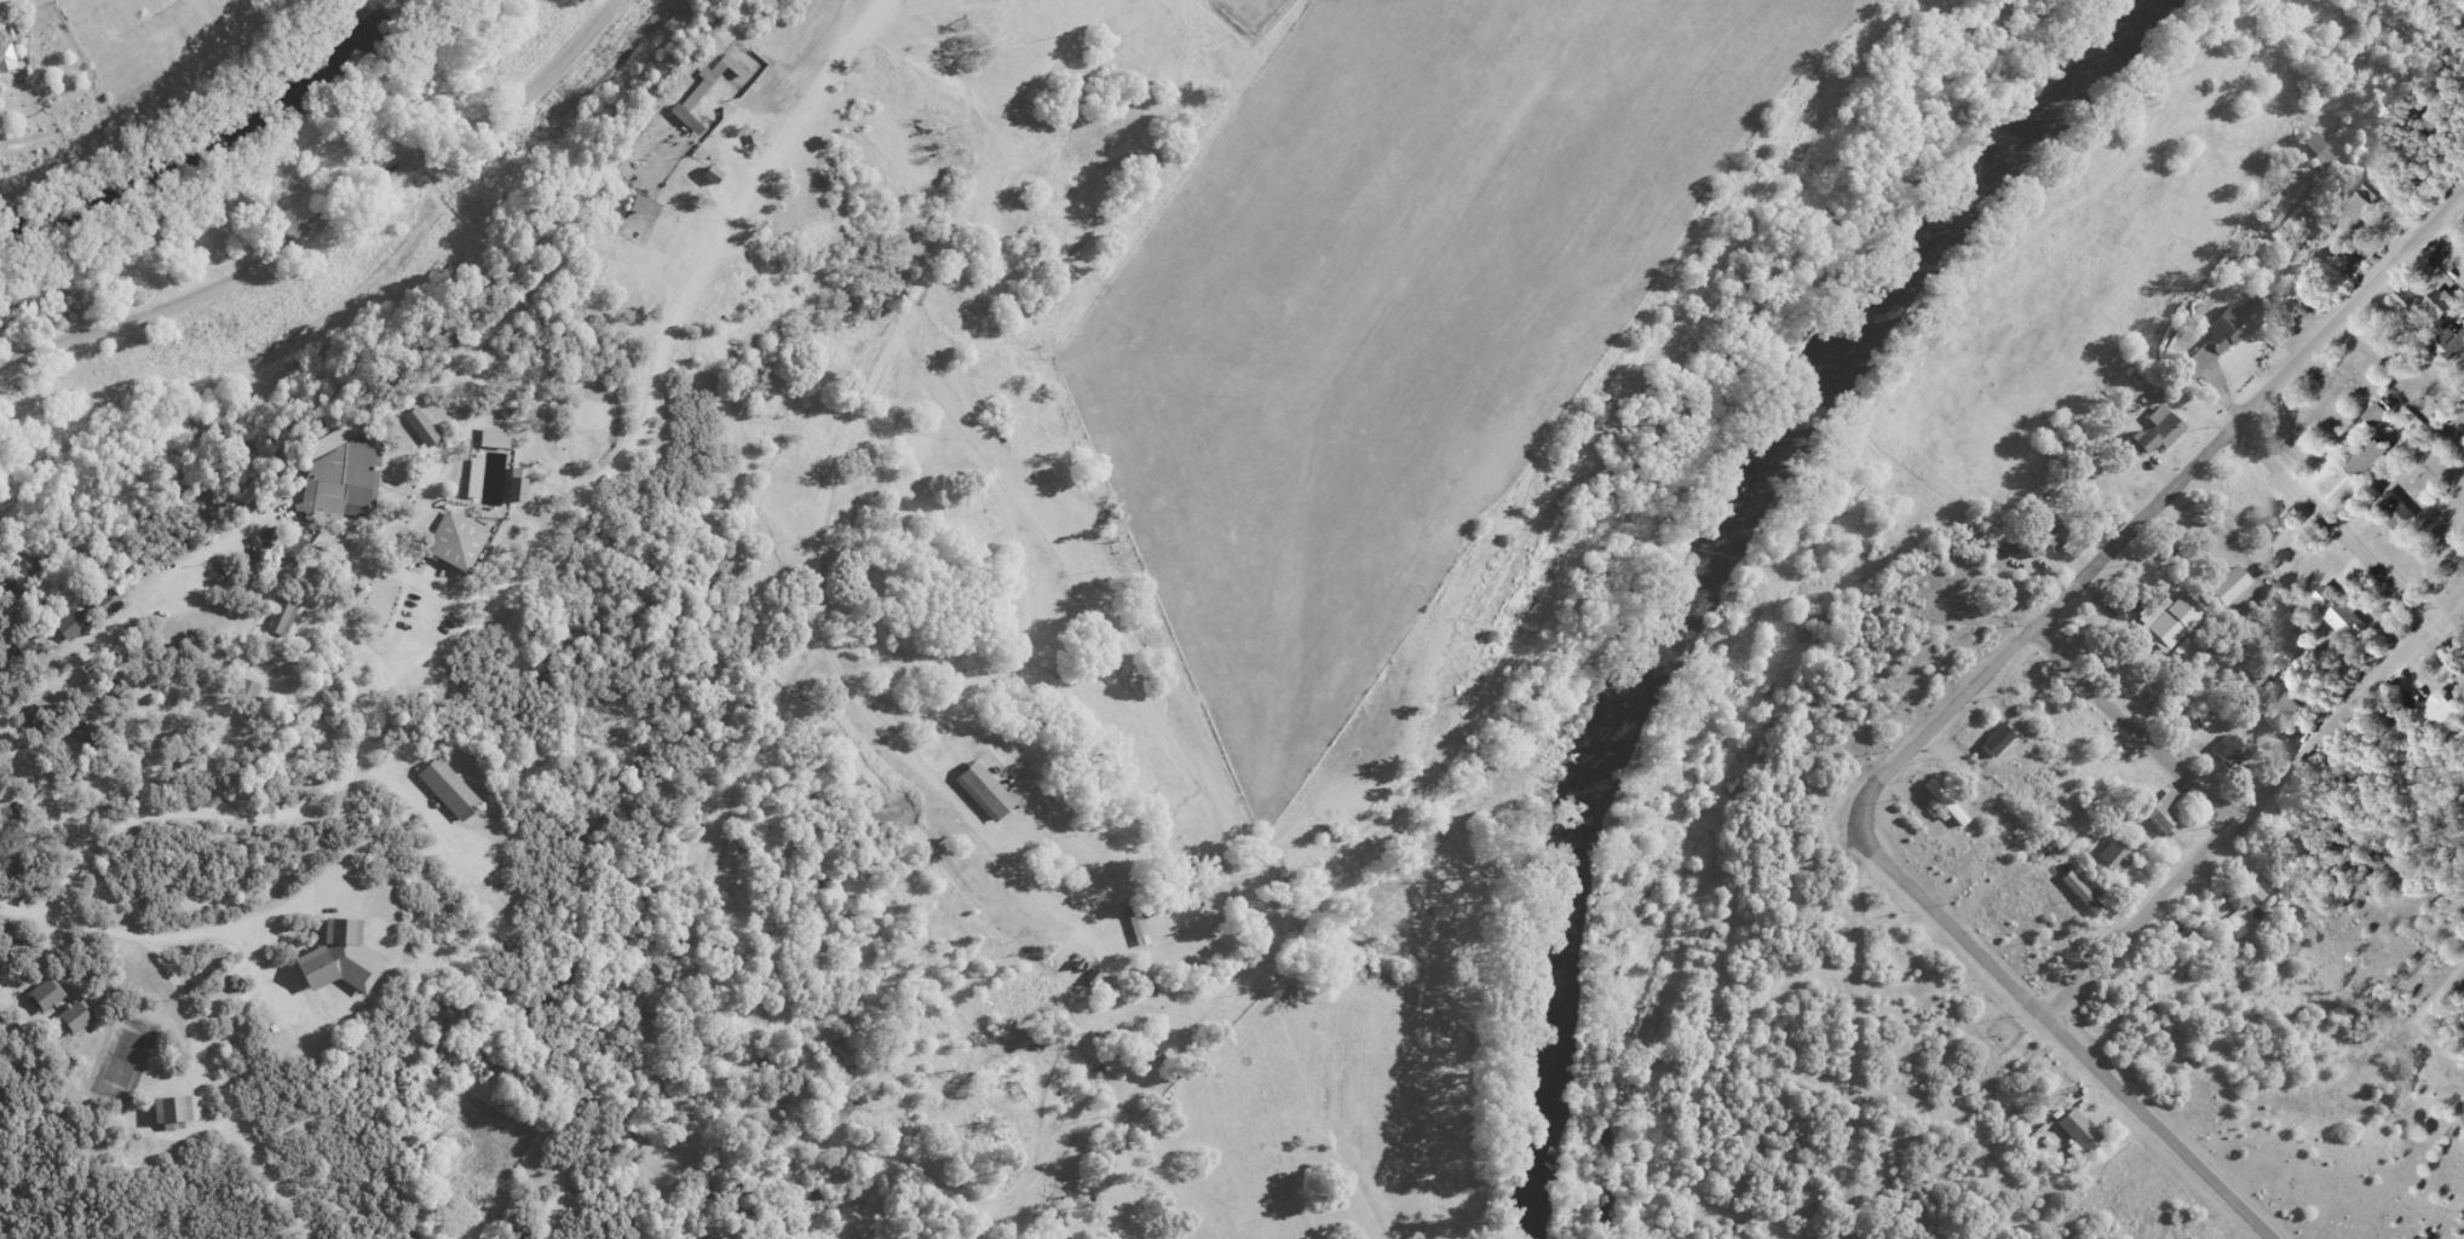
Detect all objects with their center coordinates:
building: (1220, 10)
building: (701, 88)
river: (201, 142)
building: (713, 171)
building: (2359, 201)
building: (2370, 207)
road: (330, 214)
building: (660, 230)
road: (2451, 246)
building: (599, 272)
building: (2403, 298)
building: (707, 301)
building: (2446, 310)
building: (2232, 339)
building: (2453, 342)
road: (673, 369)
building: (2374, 415)
building: (601, 419)
road: (860, 421)
building: (2165, 436)
building: (432, 438)
building: (491, 438)
building: (505, 448)
building: (2365, 459)
building: (2377, 462)
building: (353, 486)
building: (513, 489)
building: (526, 500)
building: (2405, 513)
road: (2157, 515)
building: (2046, 536)
road: (2350, 546)
building: (466, 551)
building: (2069, 553)
river: (1715, 561)
building: (2240, 590)
building: (106, 600)
building: (2345, 612)
building: (282, 618)
building: (67, 626)
building: (2174, 630)
building: (244, 690)
building: (2278, 710)
building: (2446, 720)
building: (2287, 721)
road: (2143, 728)
building: (1997, 739)
building: (2010, 744)
building: (2240, 753)
building: (462, 799)
building: (995, 799)
building: (1951, 803)
road: (2262, 806)
building: (2160, 812)
building: (2172, 819)
building: (2112, 857)
building: (2124, 864)
building: (2251, 895)
building: (2091, 901)
building: (1136, 927)
building: (350, 972)
building: (56, 996)
road: (1706, 1005)
building: (85, 1021)
road: (2069, 1027)
road: (1846, 1032)
building: (167, 1110)
building: (180, 1118)
building: (2088, 1136)

